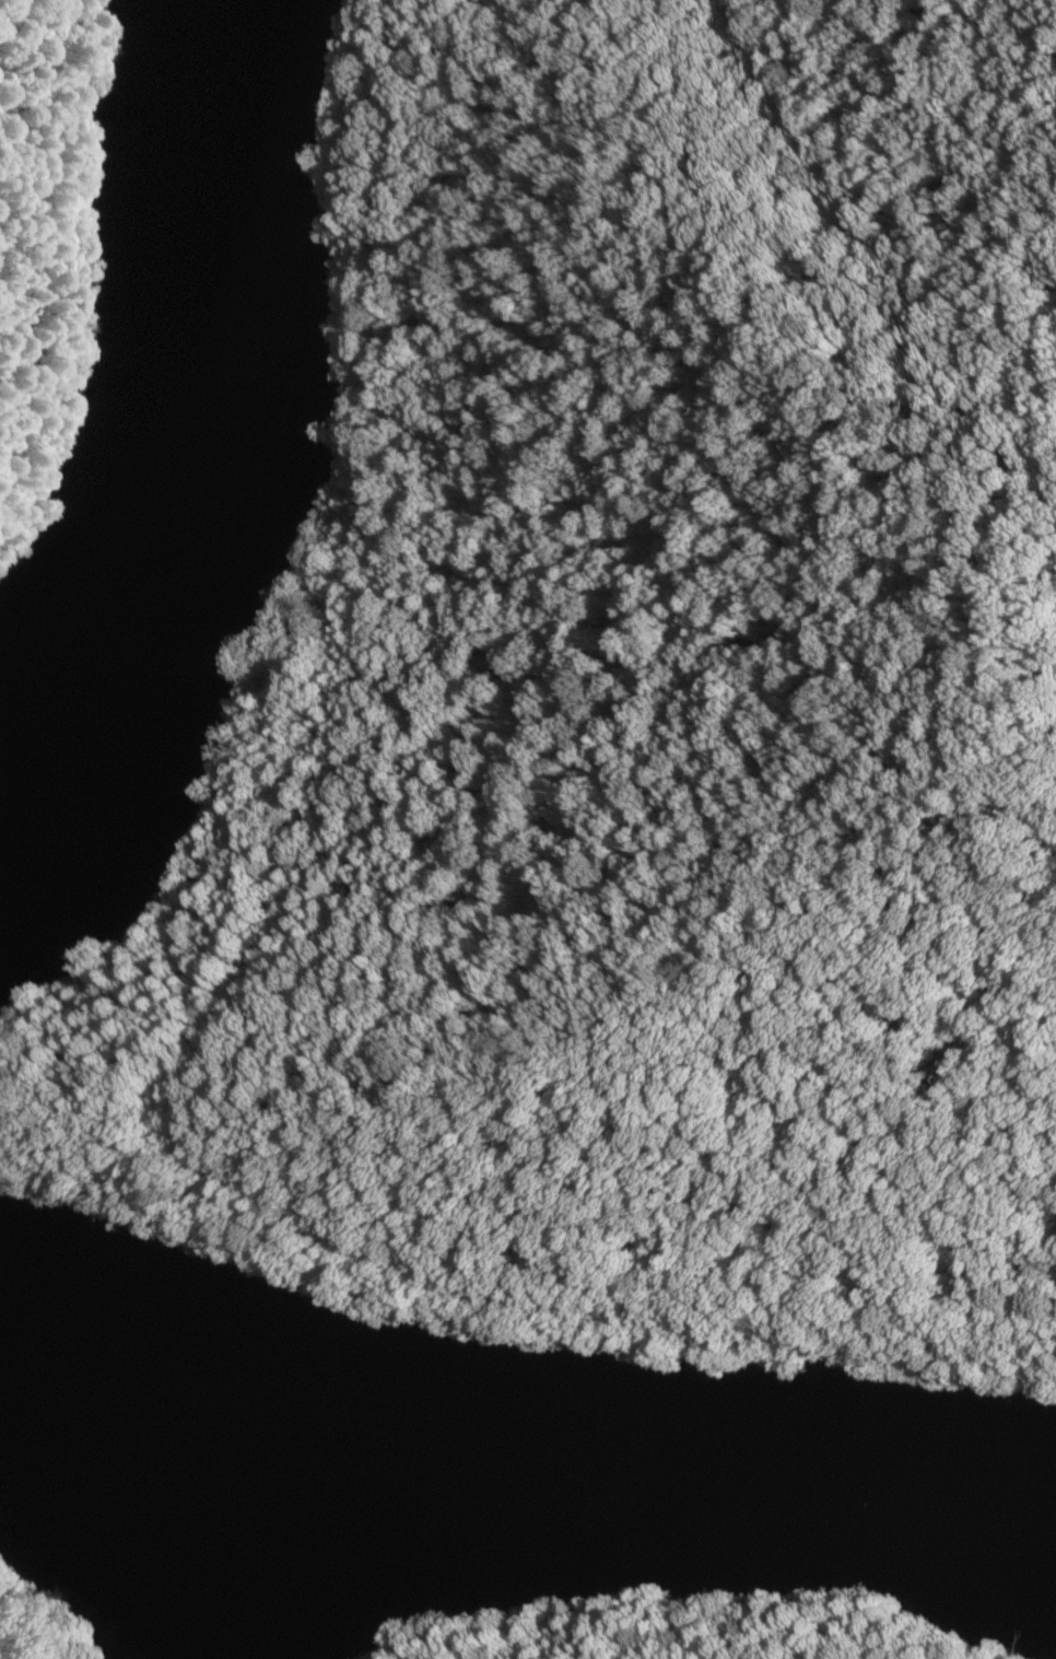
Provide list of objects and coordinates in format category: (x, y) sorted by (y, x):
river: (184, 408)
river: (529, 1432)

